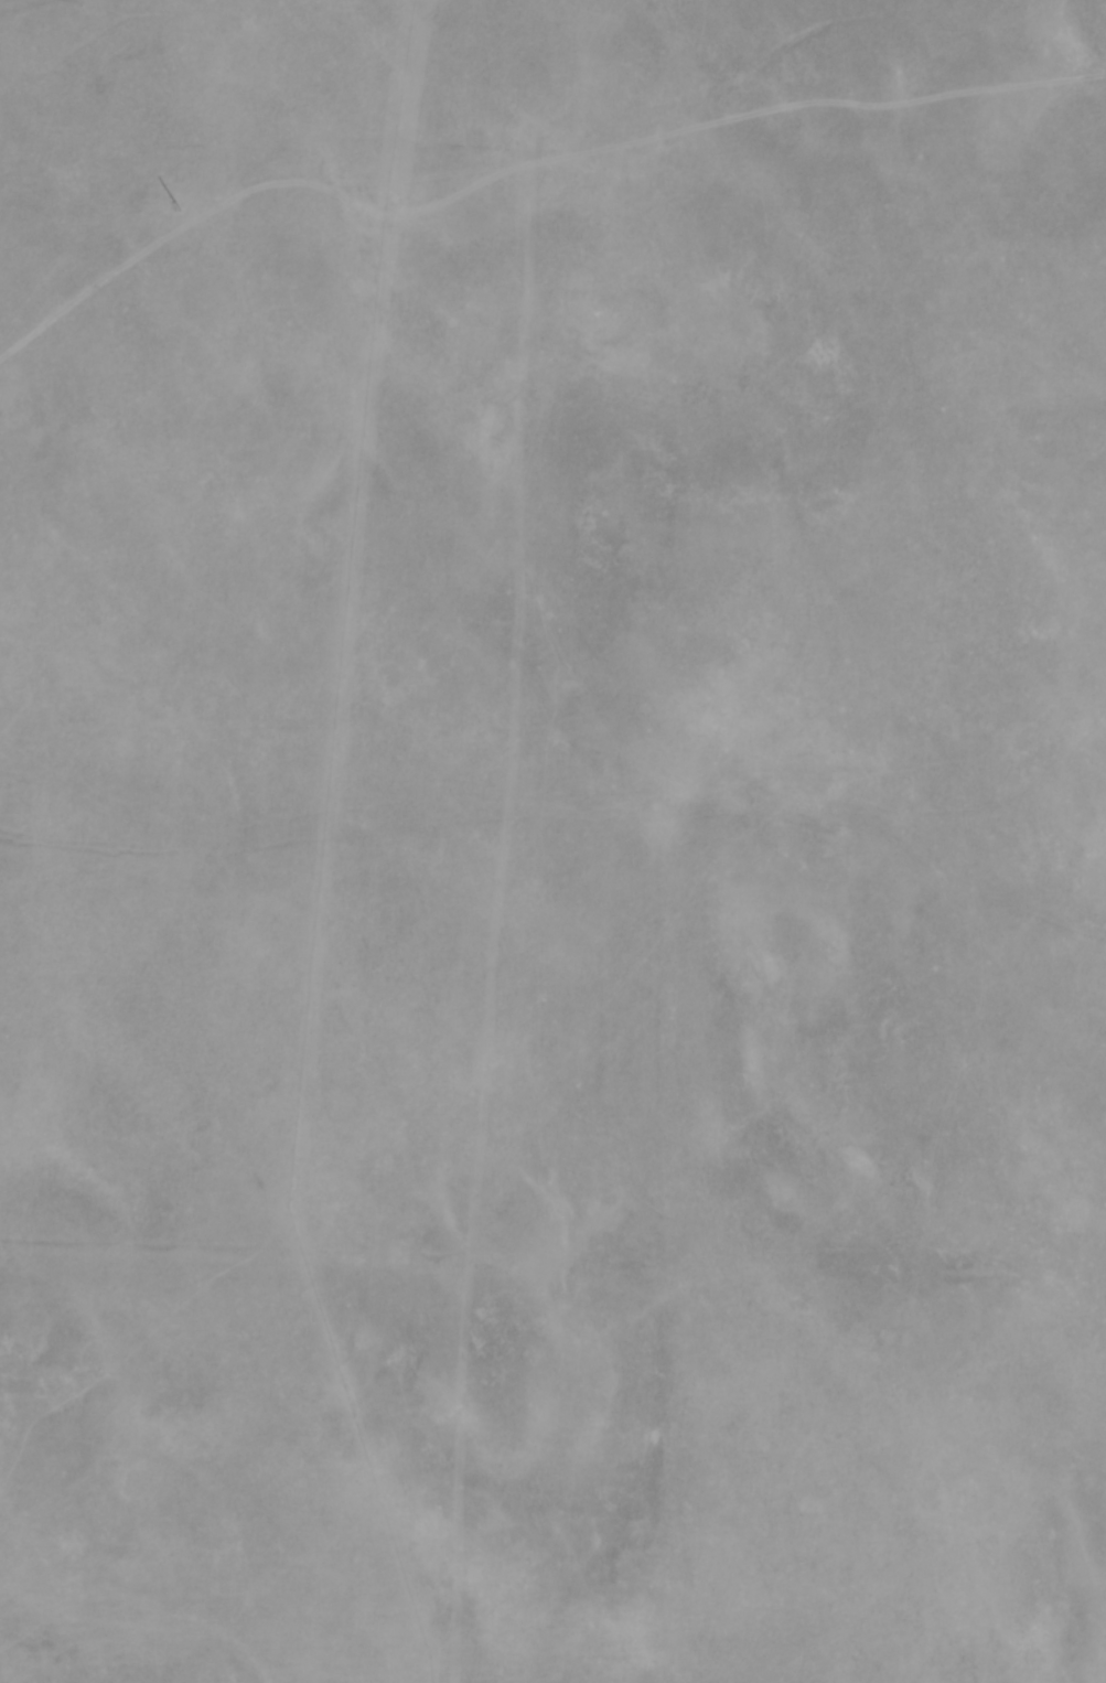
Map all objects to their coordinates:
power tower: (178, 206)

